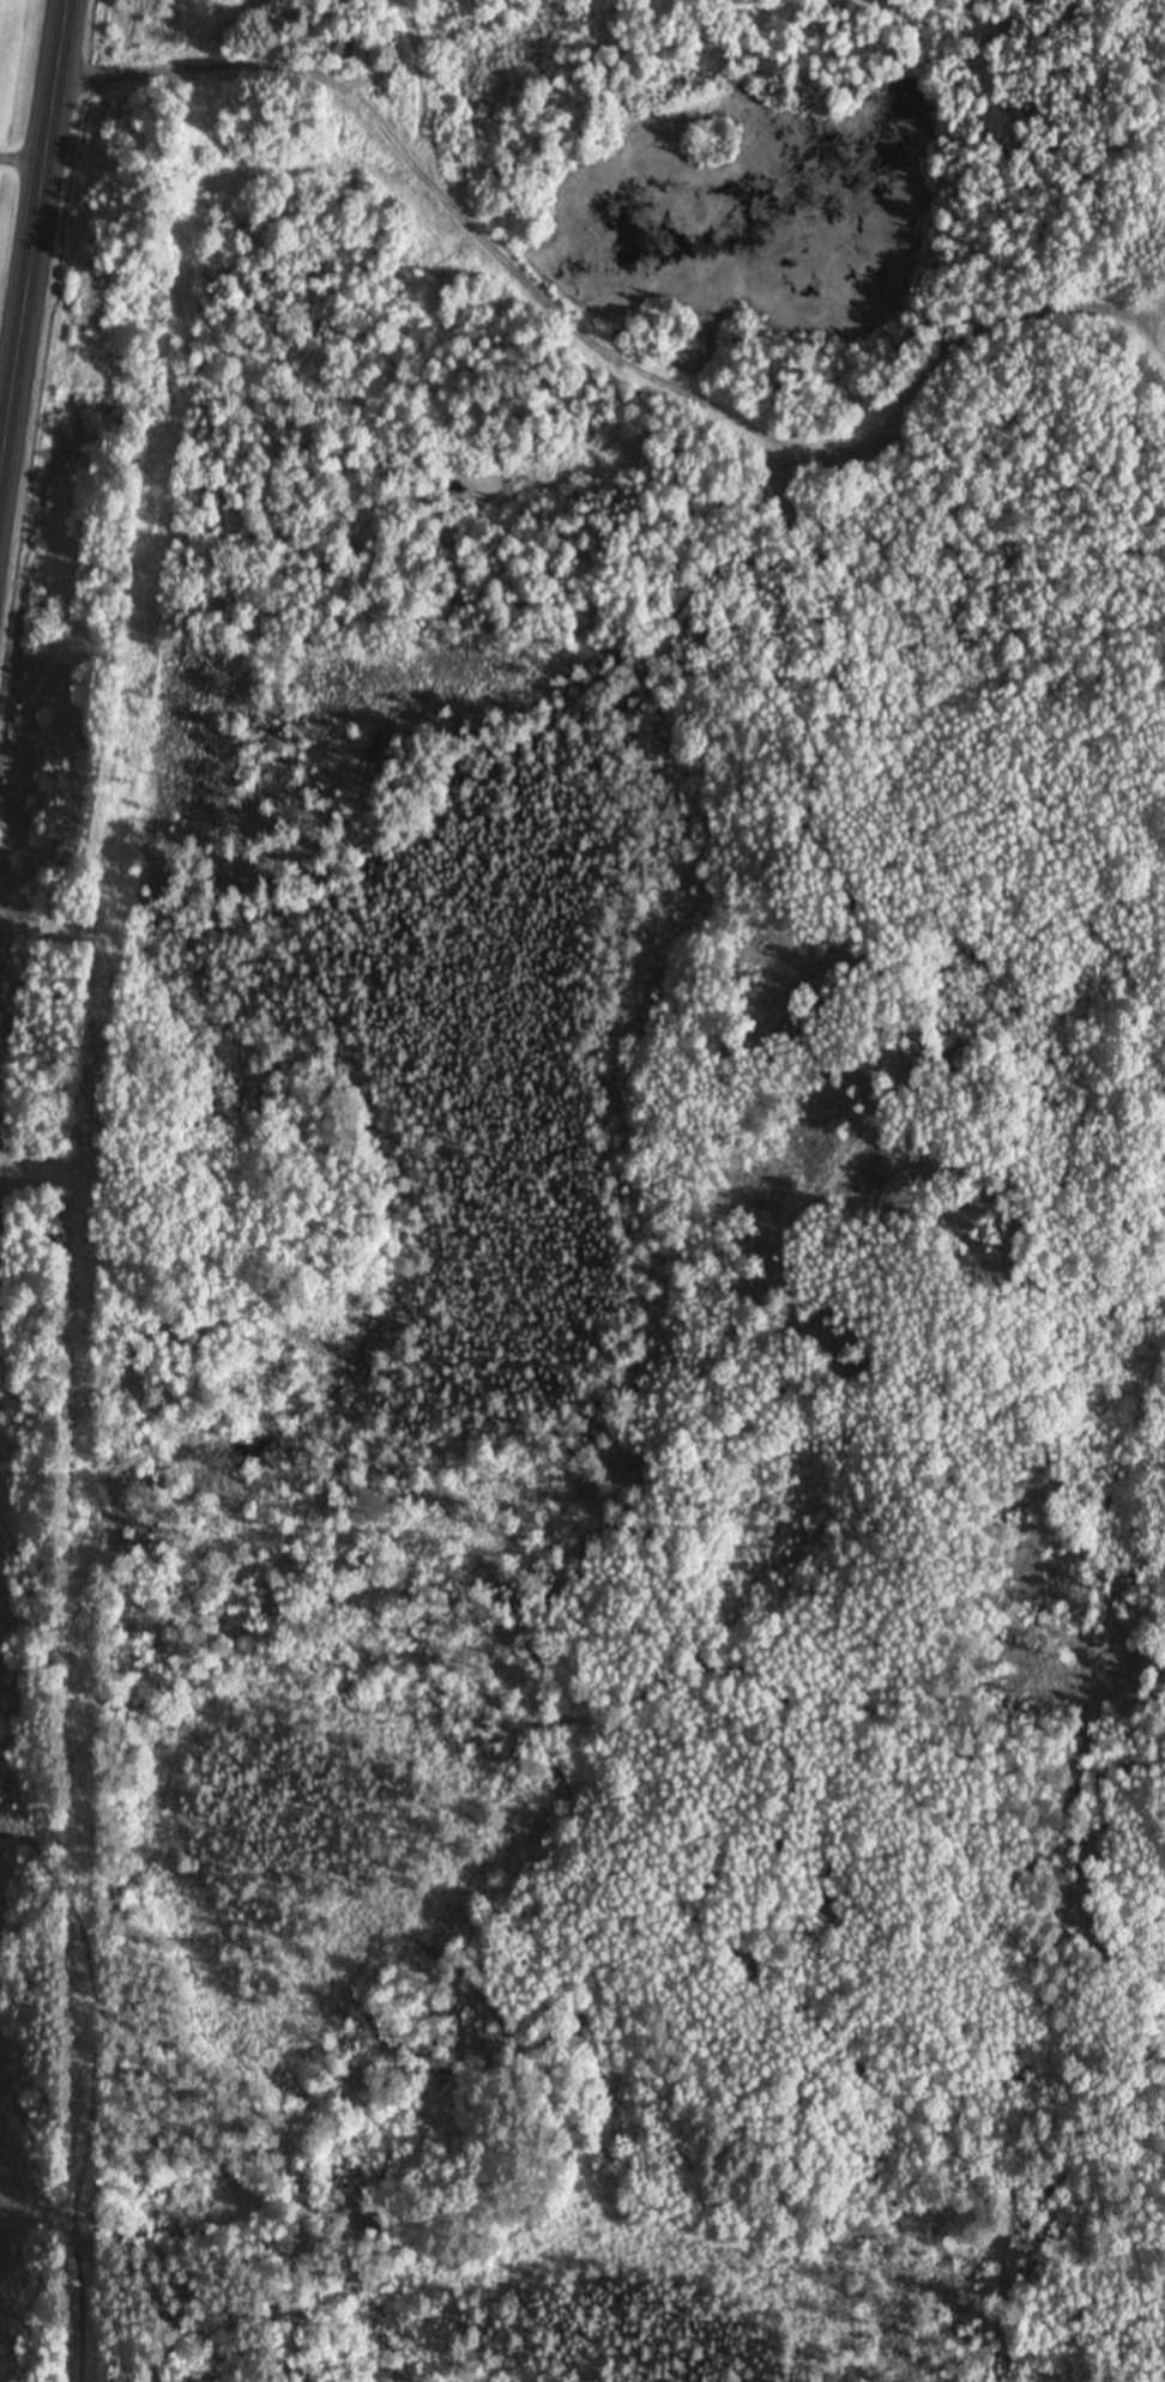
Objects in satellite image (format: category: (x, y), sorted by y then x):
building: (362, 58)
road: (34, 273)
road: (501, 760)
road: (714, 2133)

